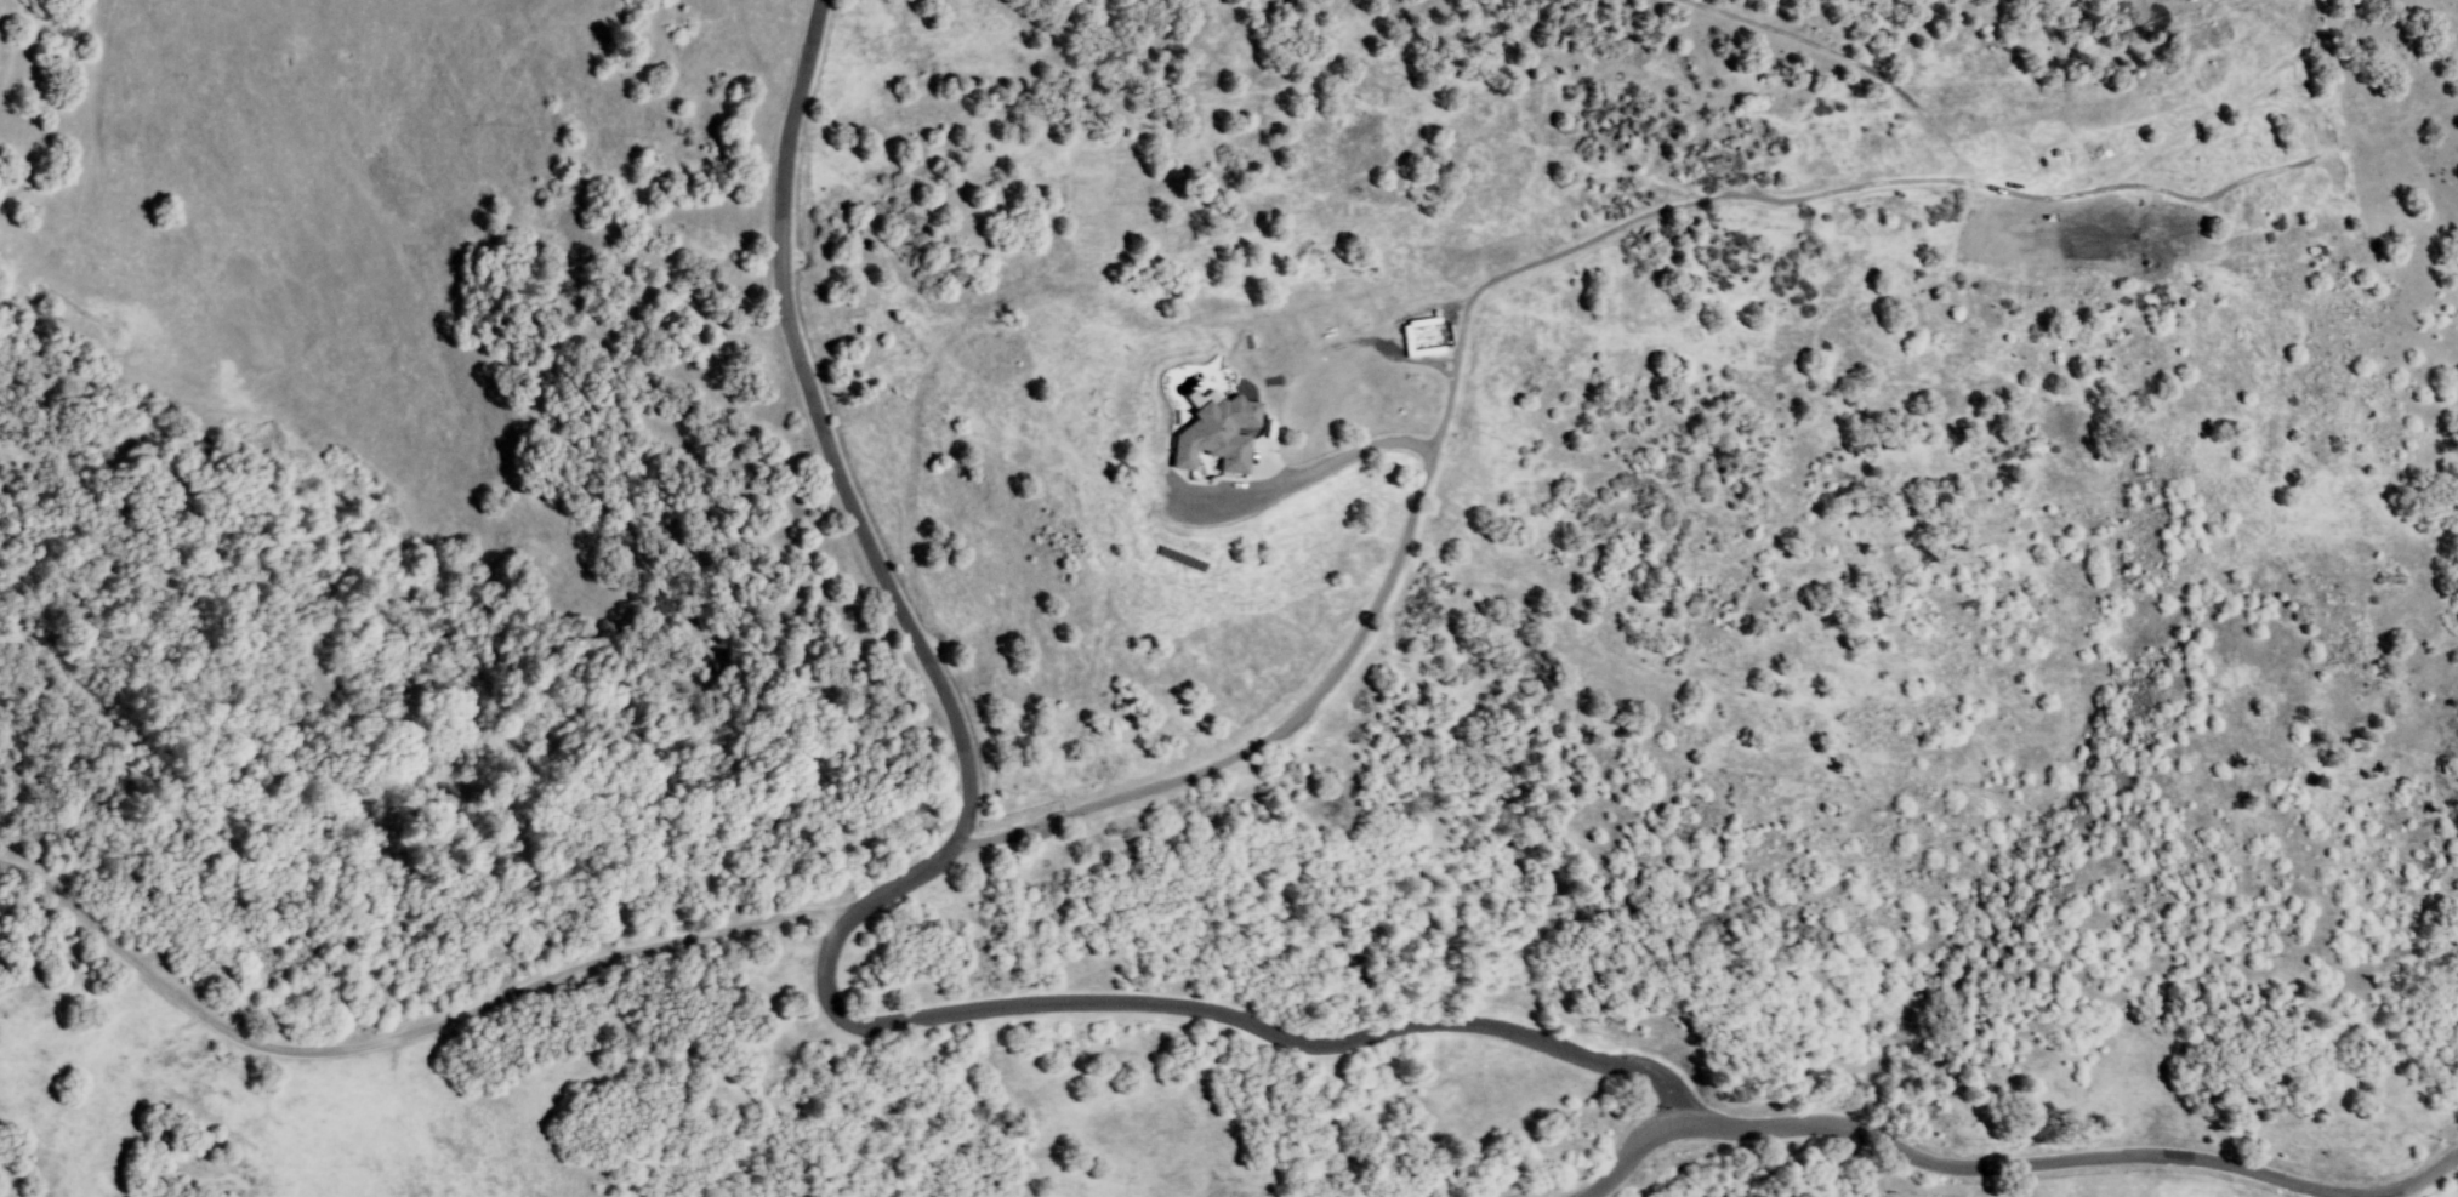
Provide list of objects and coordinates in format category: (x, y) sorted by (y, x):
road: (2, 30)
building: (1421, 338)
building: (1217, 435)
road: (1321, 692)
road: (853, 910)
road: (2009, 1165)
road: (2392, 1193)

